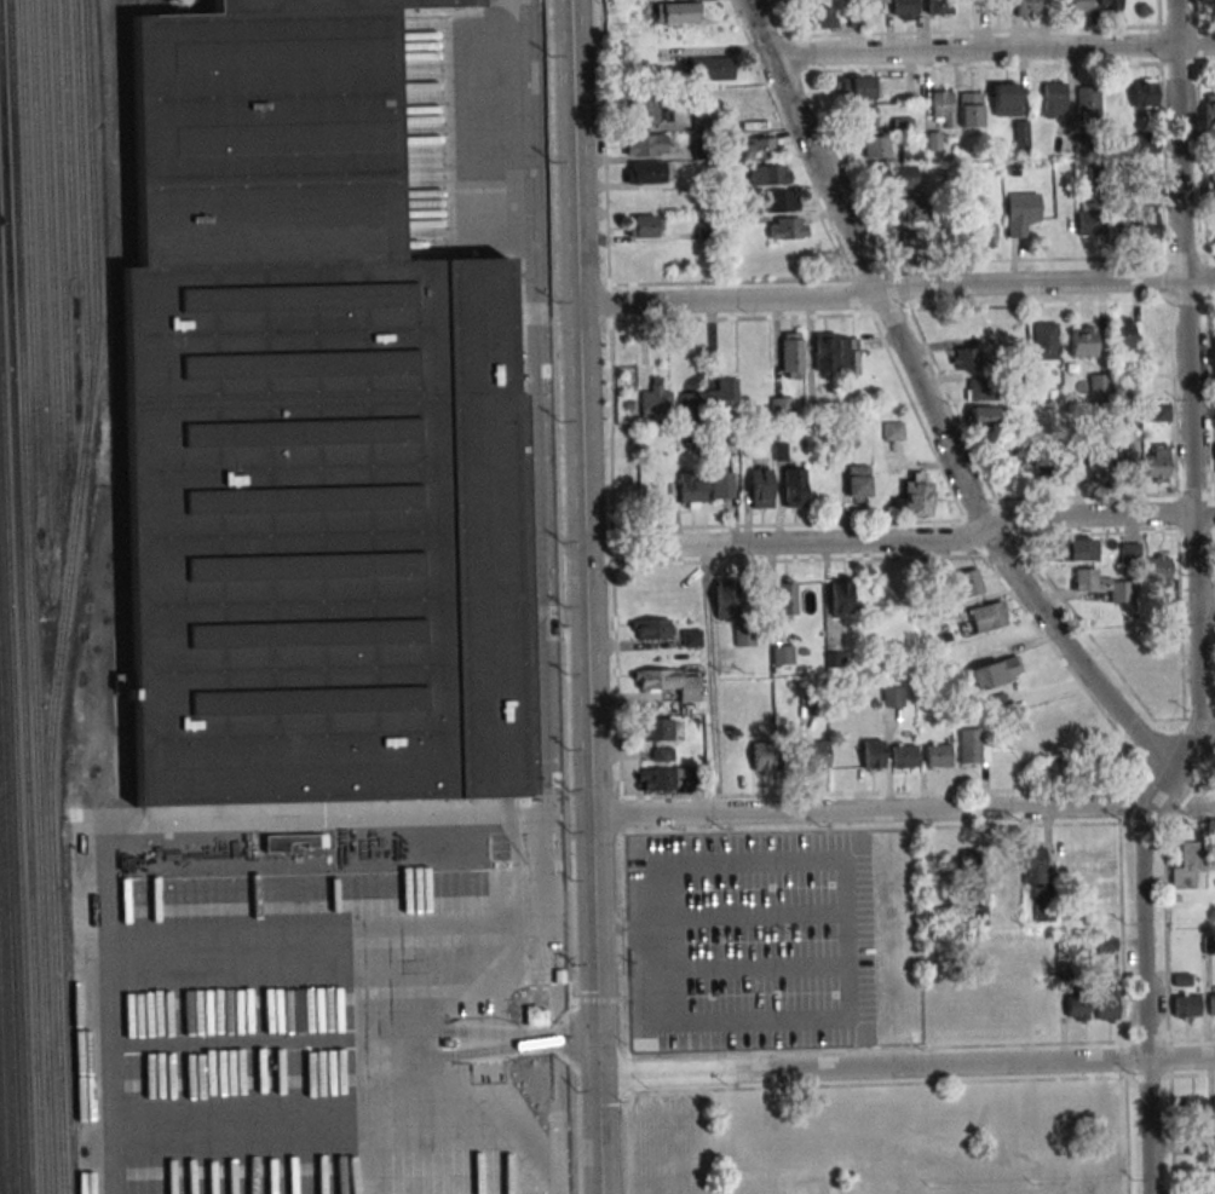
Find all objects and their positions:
building: (875, 1)
building: (1208, 1)
building: (996, 2)
building: (1109, 5)
building: (939, 6)
building: (1079, 6)
building: (1026, 7)
building: (904, 10)
building: (678, 12)
building: (824, 18)
road: (996, 47)
building: (712, 67)
building: (858, 87)
building: (1144, 92)
building: (1006, 99)
building: (1053, 99)
building: (1088, 103)
building: (943, 105)
building: (971, 110)
building: (1209, 110)
building: (645, 113)
building: (864, 117)
building: (702, 121)
railway: (69, 126)
building: (933, 140)
building: (1145, 143)
building: (645, 145)
building: (876, 146)
building: (761, 148)
building: (644, 172)
building: (767, 174)
building: (898, 177)
building: (644, 198)
building: (782, 201)
railway: (82, 204)
building: (908, 208)
building: (1021, 213)
building: (1089, 220)
building: (1147, 223)
building: (644, 225)
building: (1117, 225)
building: (787, 227)
building: (984, 227)
railway: (61, 230)
building: (916, 241)
railway: (51, 243)
railway: (29, 249)
railway: (40, 249)
road: (893, 292)
building: (1123, 335)
building: (1044, 340)
building: (1082, 341)
building: (824, 352)
building: (791, 353)
building: (848, 356)
building: (967, 358)
building: (1214, 360)
building: (1099, 383)
building: (980, 390)
building: (655, 399)
building: (710, 400)
road: (927, 405)
building: (782, 406)
building: (1157, 411)
building: (983, 416)
building: (309, 431)
building: (893, 431)
building: (1095, 460)
building: (1041, 463)
building: (1157, 463)
building: (1125, 465)
building: (857, 480)
building: (719, 484)
building: (793, 486)
building: (760, 488)
building: (691, 490)
building: (914, 495)
road: (900, 546)
building: (1076, 549)
building: (1128, 554)
building: (1158, 566)
building: (968, 582)
building: (1107, 586)
building: (784, 595)
railway: (30, 596)
railway: (67, 596)
road: (543, 596)
road: (583, 596)
building: (840, 596)
building: (725, 599)
road: (1196, 606)
building: (987, 616)
building: (650, 629)
building: (743, 636)
railway: (19, 639)
building: (782, 654)
building: (995, 671)
road: (713, 681)
building: (669, 682)
building: (893, 697)
building: (998, 703)
building: (655, 728)
road: (1207, 734)
building: (972, 746)
building: (873, 754)
building: (817, 755)
building: (761, 756)
building: (903, 756)
building: (938, 756)
railway: (15, 768)
building: (655, 779)
road: (866, 813)
road: (305, 834)
building: (315, 840)
building: (931, 861)
building: (968, 861)
building: (1033, 863)
building: (1190, 866)
railway: (8, 931)
building: (1210, 1004)
building: (1106, 1005)
building: (1185, 1005)
building: (1076, 1008)
building: (535, 1015)
road: (905, 1065)
railway: (2, 1074)
building: (1214, 1107)
building: (1192, 1108)
railway: (0, 1192)

